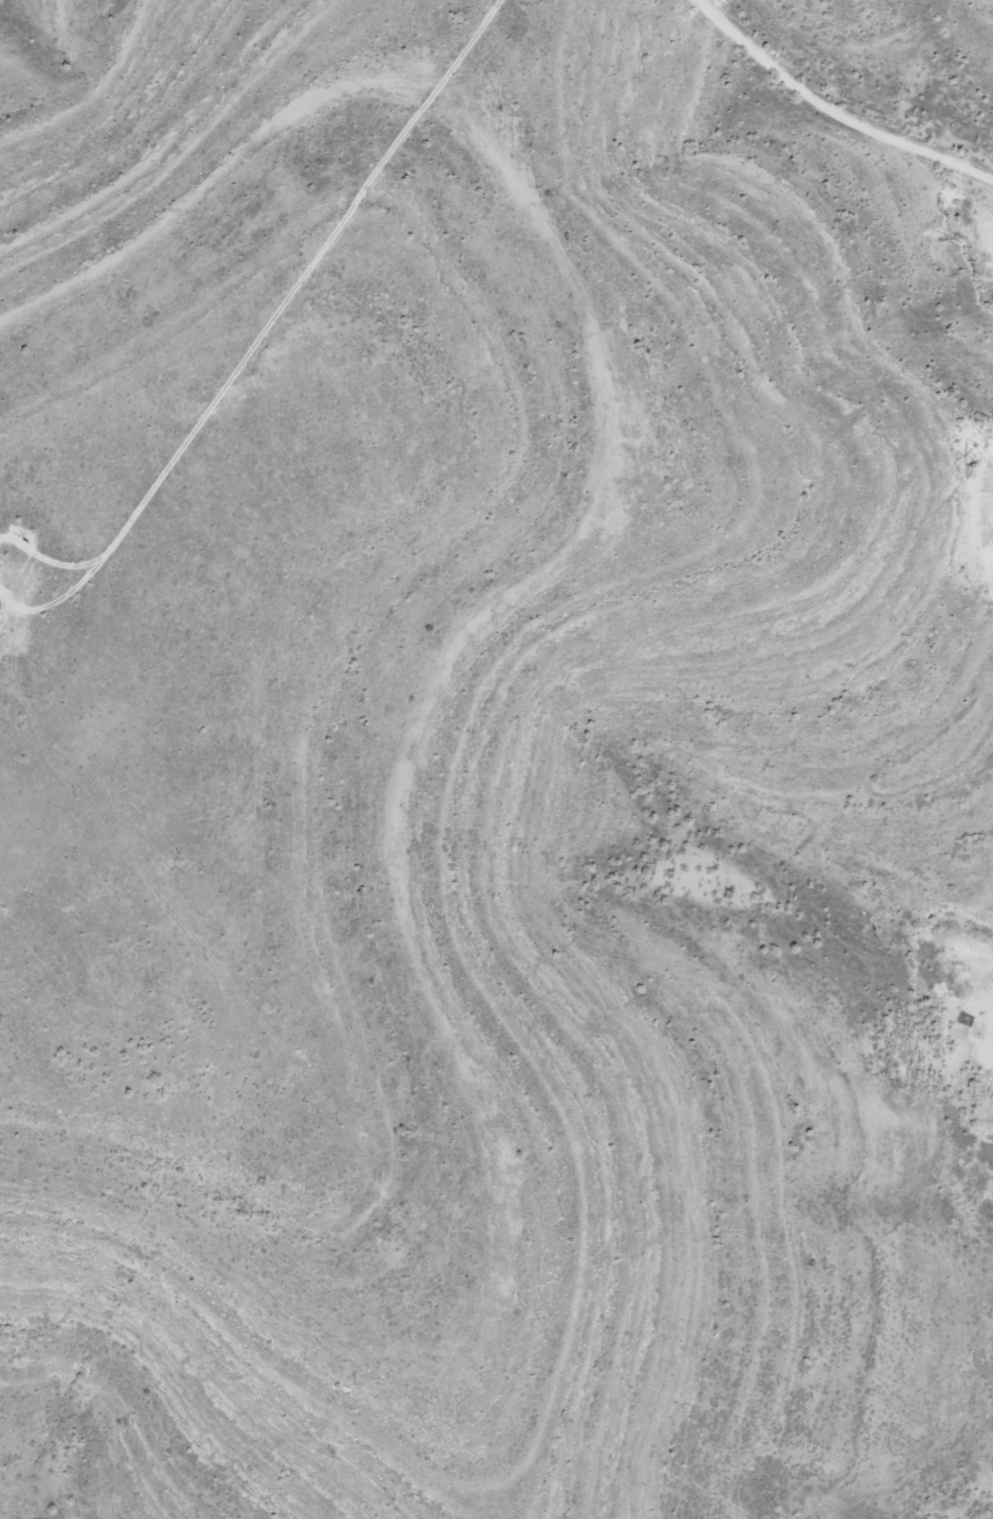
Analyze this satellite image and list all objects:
road: (866, 92)

